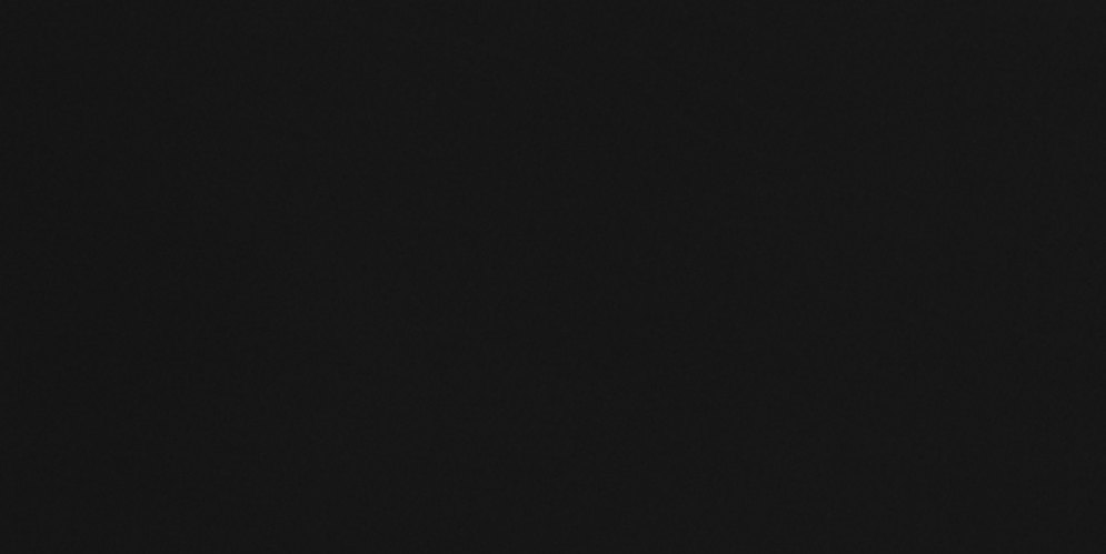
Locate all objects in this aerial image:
river: (946, 406)

